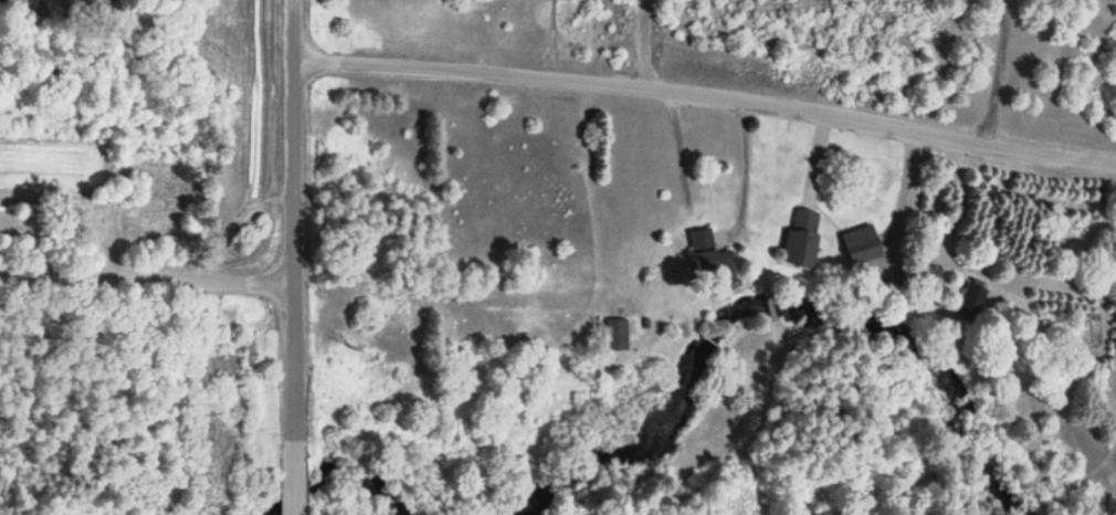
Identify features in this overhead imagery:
road: (707, 94)
road: (292, 213)
building: (799, 237)
building: (859, 243)
building: (701, 249)
road: (145, 274)
building: (929, 277)
river: (773, 303)
road: (292, 471)
river: (335, 471)

